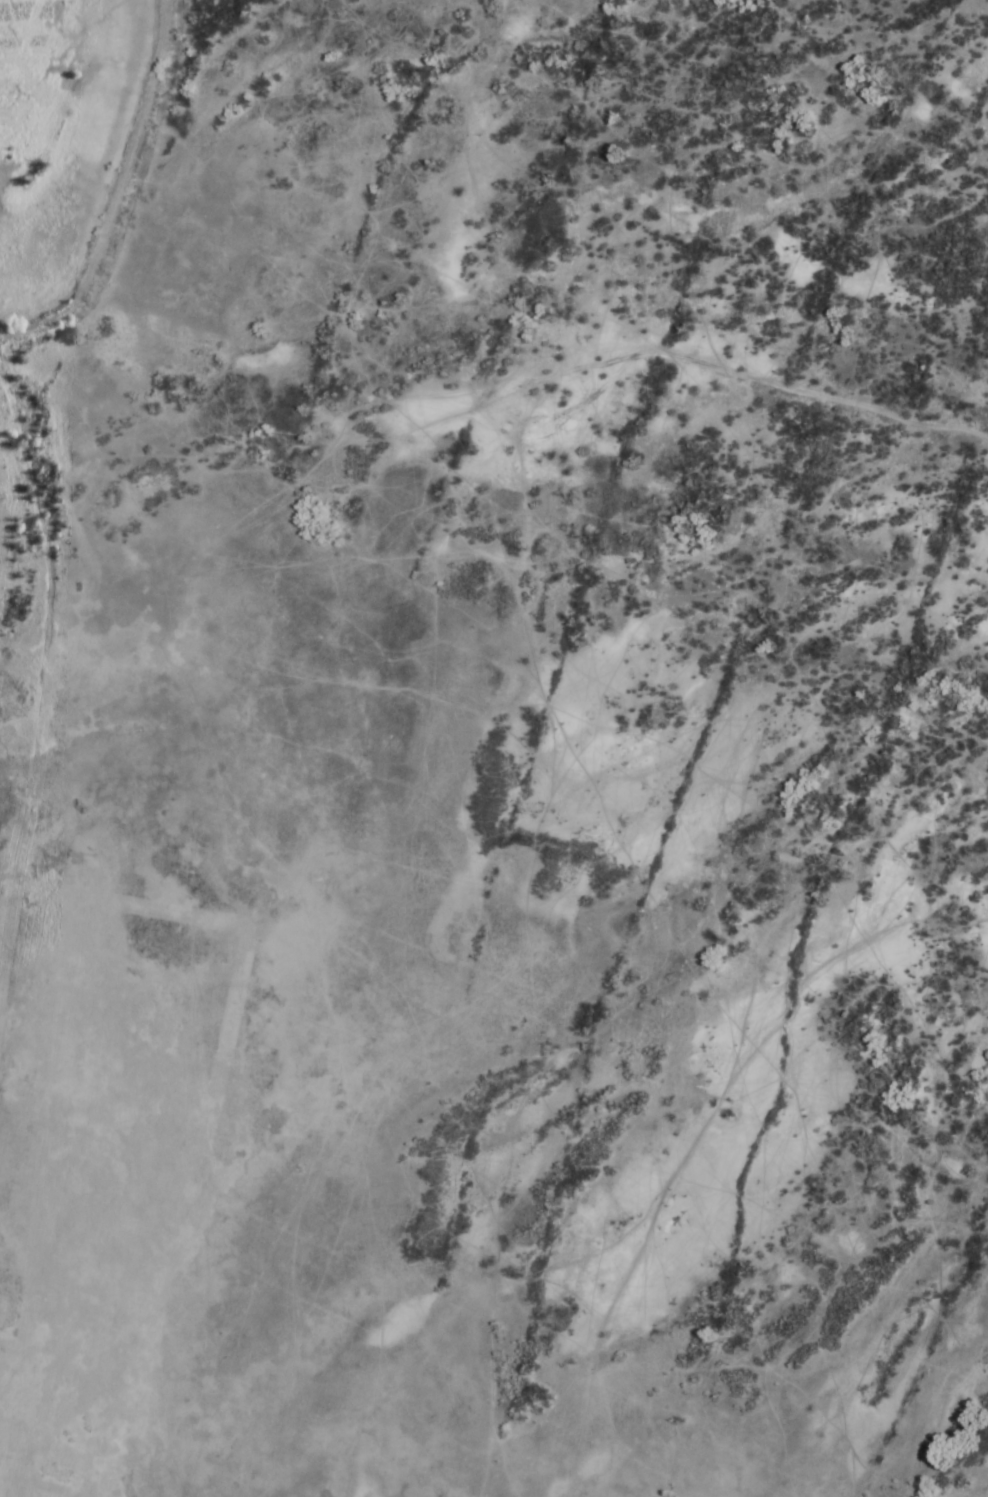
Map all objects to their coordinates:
road: (121, 194)
road: (812, 393)
road: (358, 407)
road: (508, 407)

